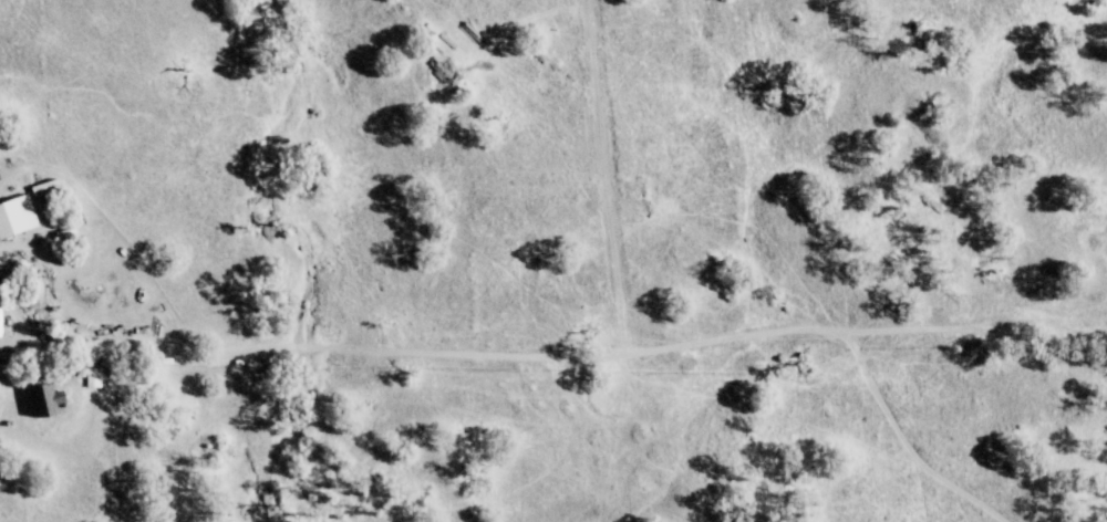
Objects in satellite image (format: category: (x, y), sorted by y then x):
building: (20, 219)
road: (553, 342)
building: (99, 379)
building: (52, 401)

